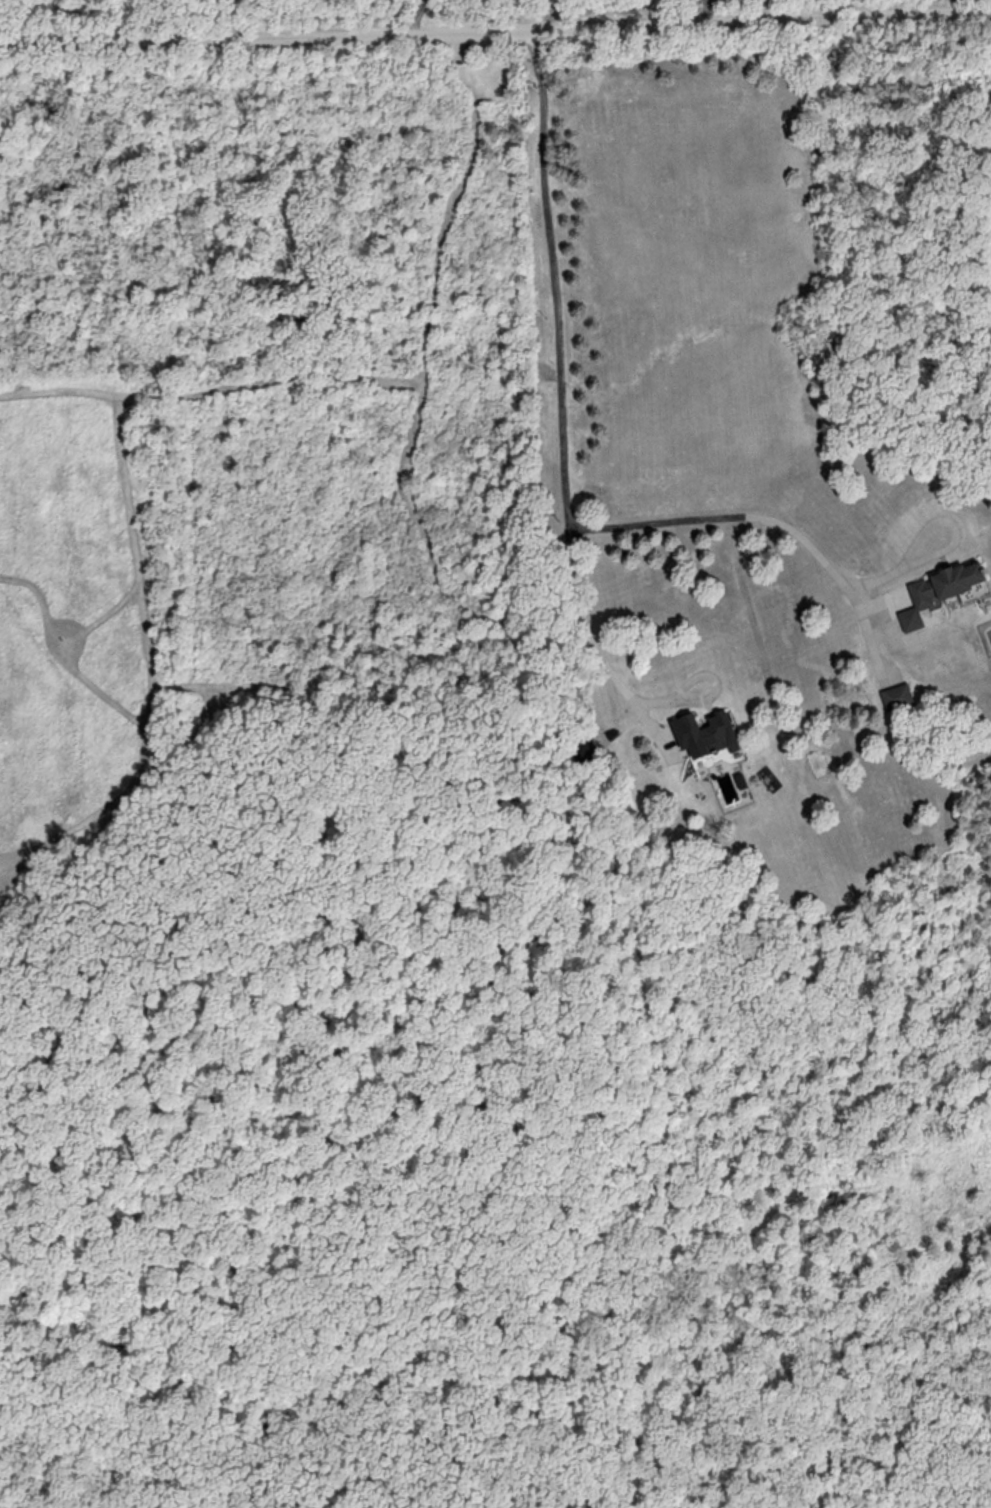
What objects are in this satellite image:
road: (954, 6)
road: (710, 12)
road: (415, 15)
road: (550, 15)
road: (495, 31)
parking lot: (471, 45)
road: (465, 46)
road: (448, 217)
road: (553, 274)
road: (211, 392)
park: (269, 503)
road: (657, 523)
road: (570, 531)
road: (133, 543)
road: (952, 547)
road: (840, 579)
building: (939, 590)
road: (887, 607)
road: (100, 619)
road: (588, 635)
road: (61, 656)
road: (336, 676)
road: (711, 696)
building: (898, 698)
road: (638, 715)
road: (196, 731)
building: (705, 733)
building: (582, 747)
road: (292, 951)
road: (809, 1161)
road: (414, 1350)

